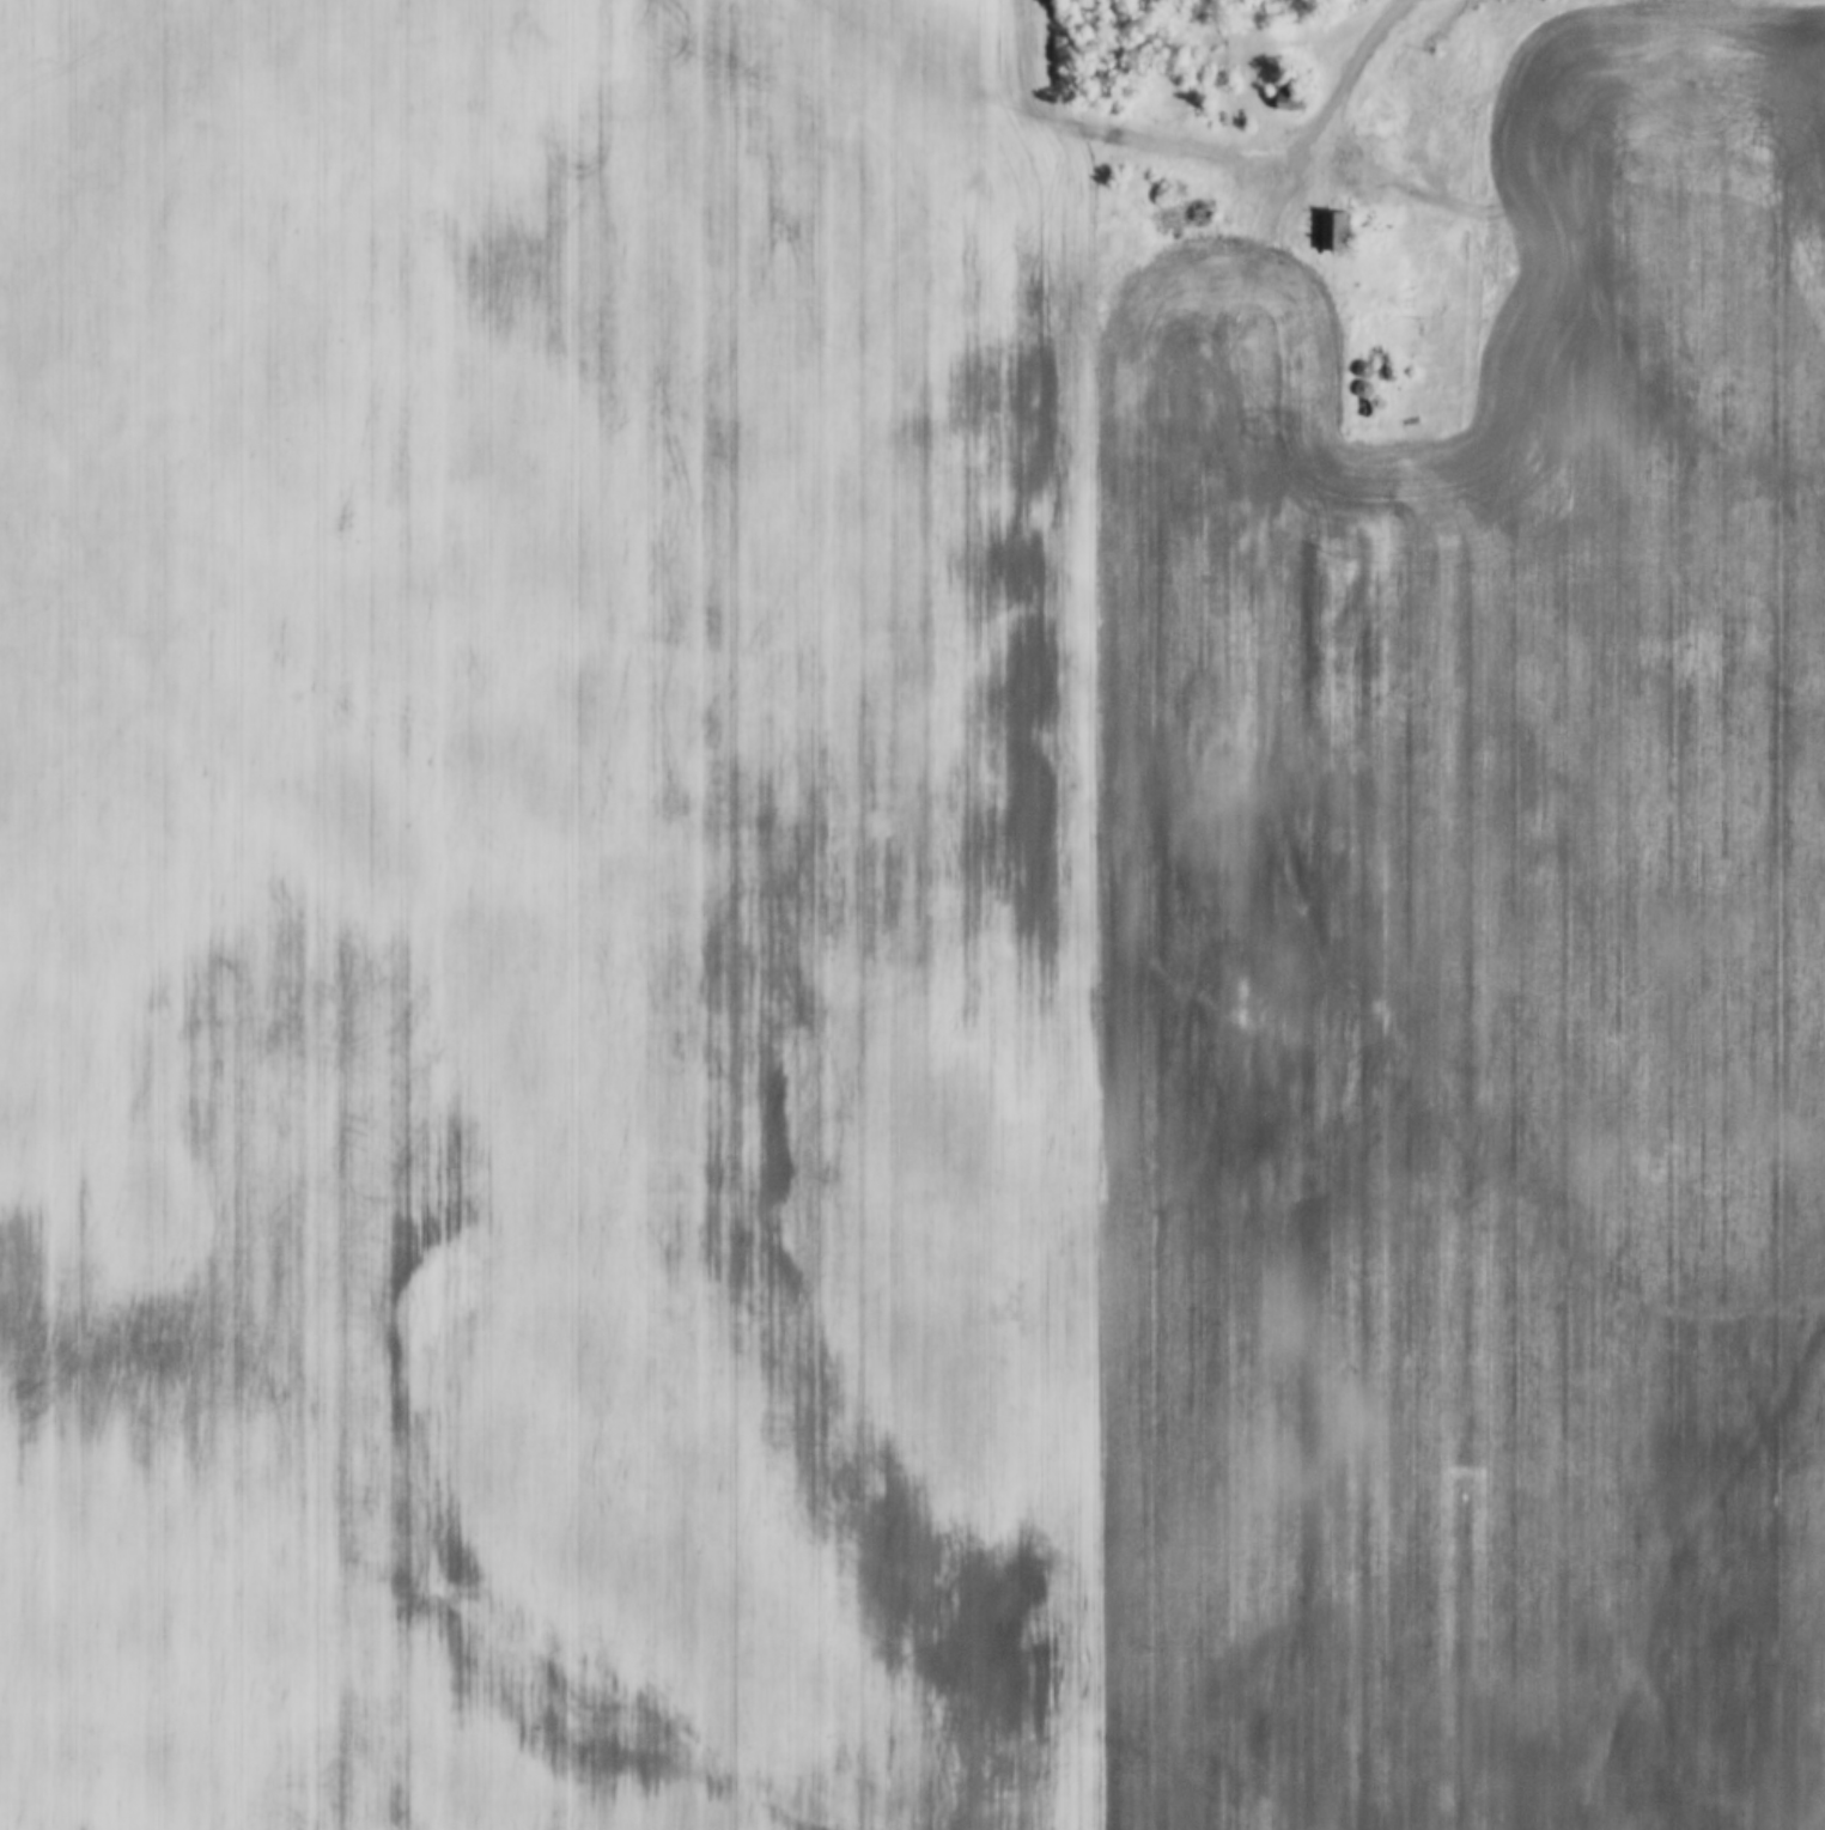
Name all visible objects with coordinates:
road: (1344, 83)
building: (1334, 233)

